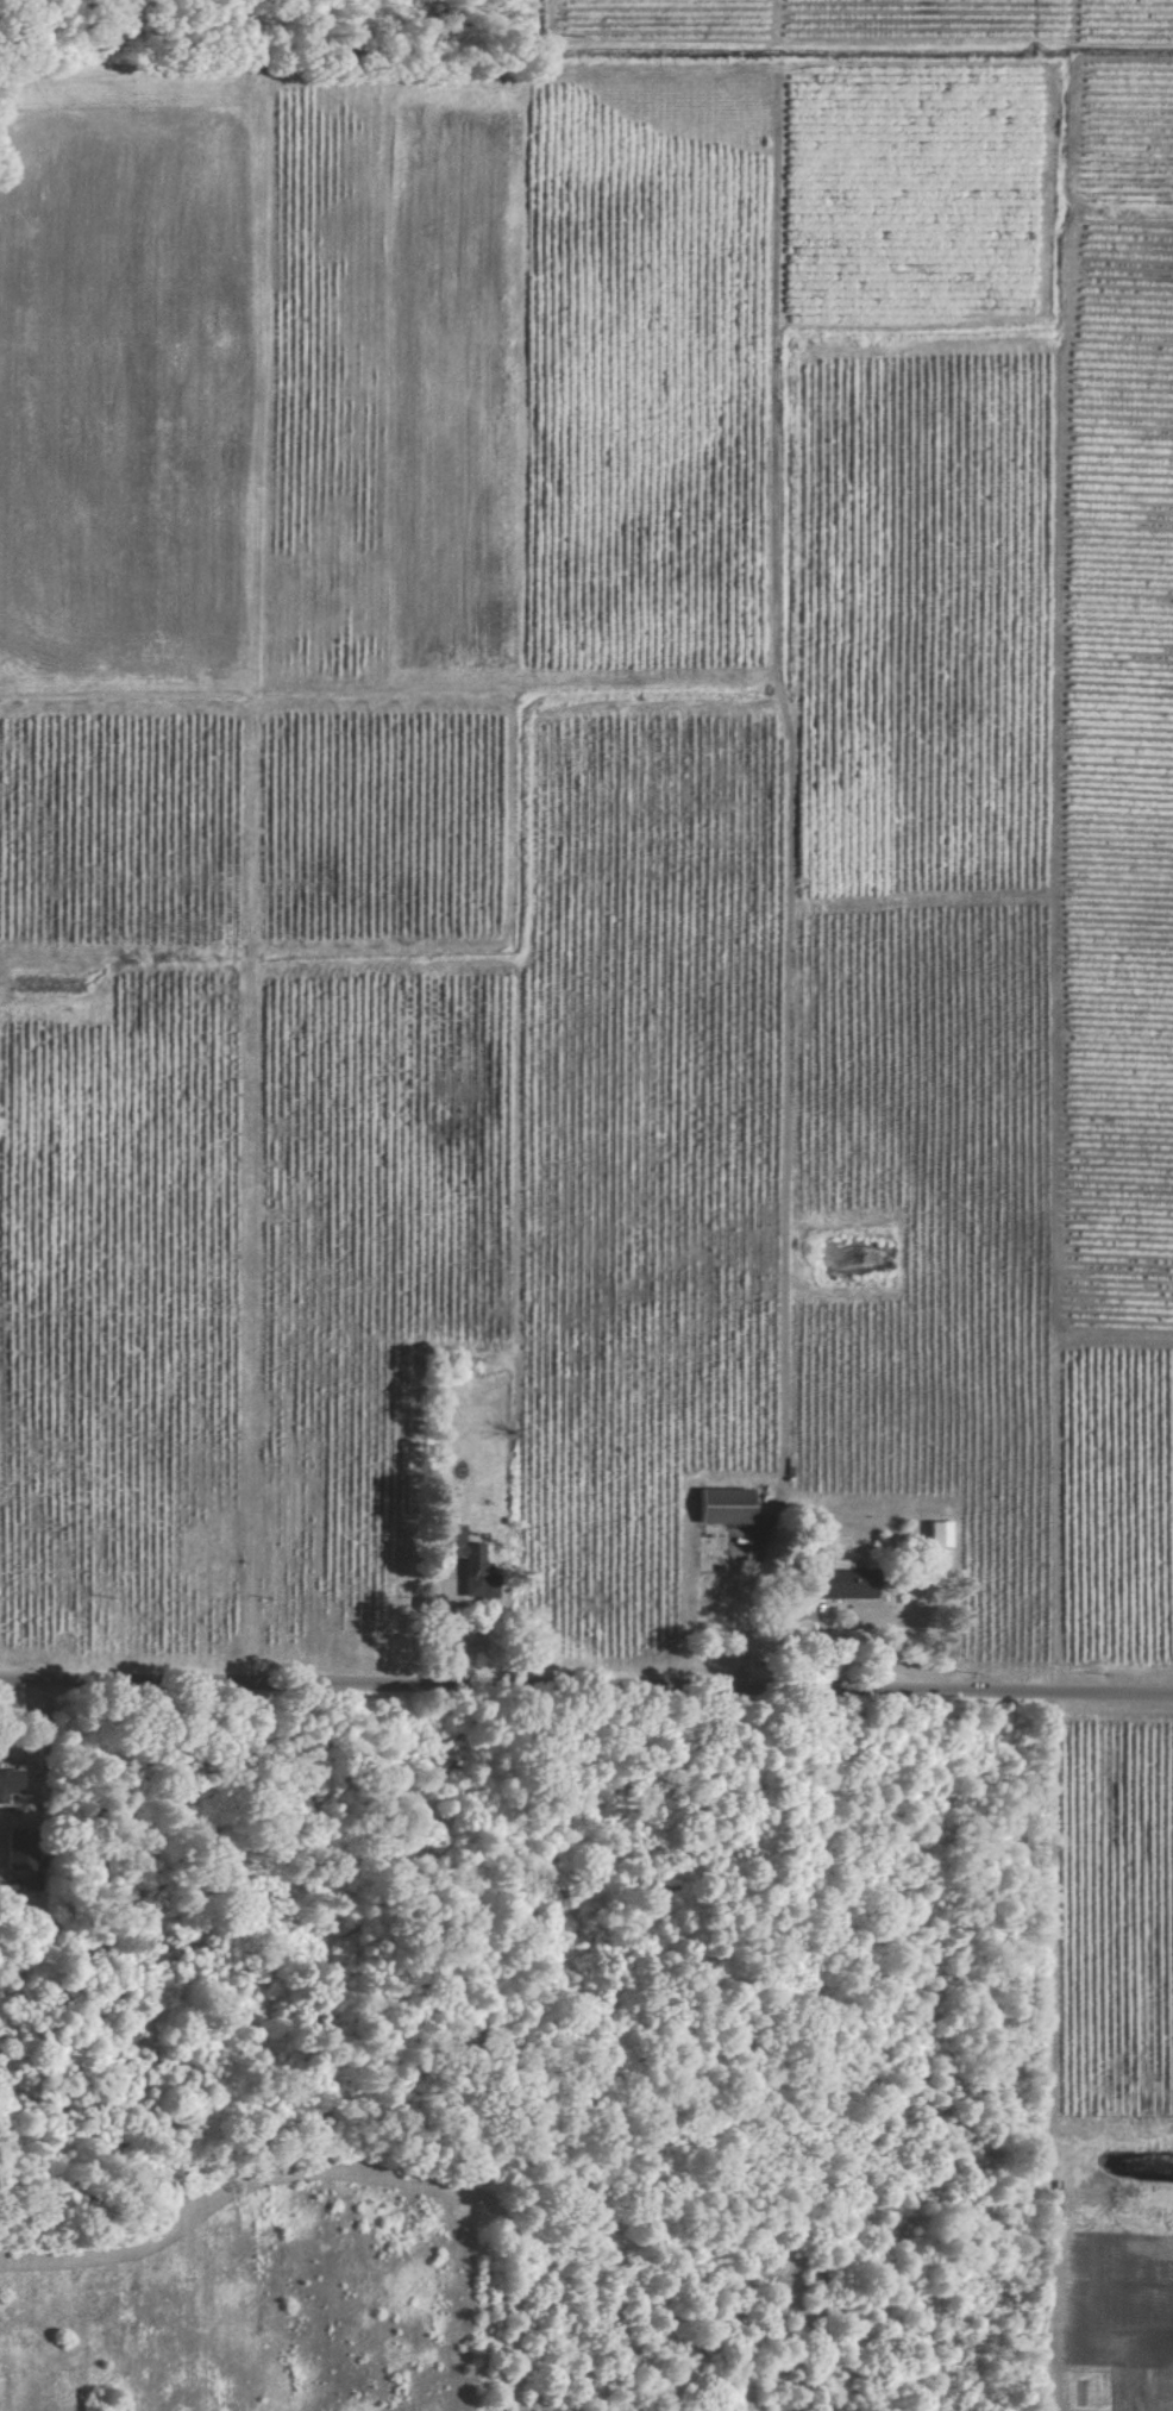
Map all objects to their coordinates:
building: (721, 1507)
building: (935, 1534)
building: (465, 1563)
building: (840, 1582)
road: (585, 1689)
building: (10, 1783)
building: (15, 1865)

